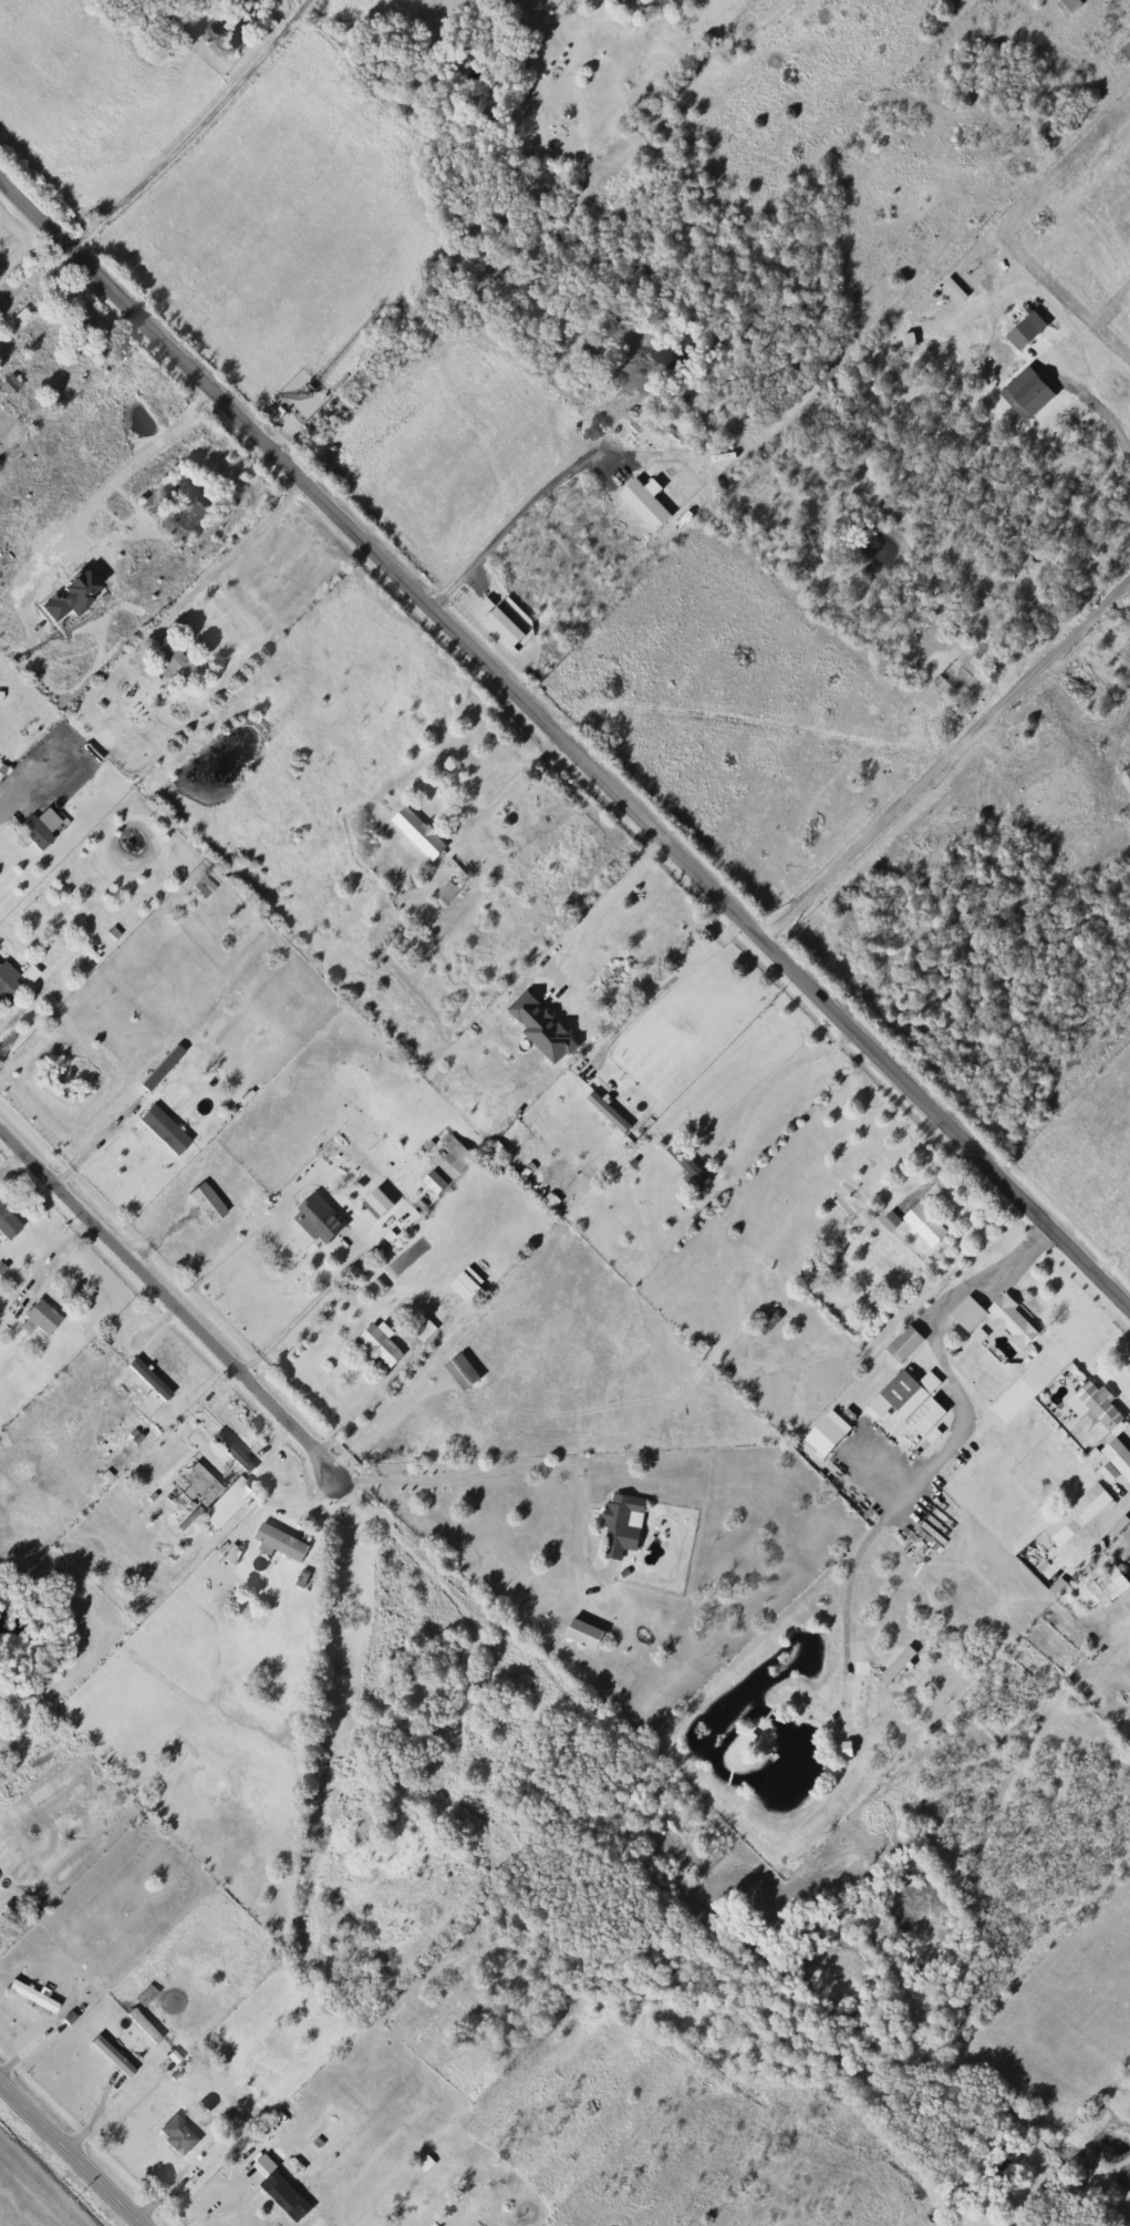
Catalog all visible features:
building: (626, 2)
building: (1070, 6)
road: (195, 133)
building: (1025, 161)
building: (900, 172)
road: (33, 274)
building: (32, 331)
road: (1099, 399)
road: (123, 476)
road: (510, 524)
road: (215, 564)
building: (167, 663)
road: (569, 741)
road: (946, 755)
road: (510, 773)
road: (1, 797)
building: (35, 820)
building: (416, 833)
road: (601, 905)
building: (411, 944)
road: (655, 981)
building: (13, 982)
road: (755, 1088)
building: (608, 1114)
building: (163, 1133)
building: (454, 1155)
building: (685, 1167)
road: (54, 1176)
road: (923, 1181)
building: (926, 1223)
building: (322, 1231)
building: (293, 1254)
road: (51, 1258)
road: (1113, 1260)
road: (335, 1280)
building: (466, 1289)
road: (169, 1297)
building: (42, 1318)
building: (995, 1318)
building: (423, 1329)
building: (903, 1344)
building: (381, 1347)
building: (147, 1380)
road: (391, 1385)
building: (912, 1403)
building: (1100, 1405)
road: (261, 1440)
road: (444, 1473)
building: (195, 1488)
building: (623, 1526)
building: (283, 1543)
road: (426, 1562)
building: (1105, 1591)
building: (583, 1635)
building: (844, 1751)
building: (33, 1998)
building: (144, 2028)
building: (178, 2136)
road: (72, 2152)
road: (160, 2187)
building: (290, 2194)

